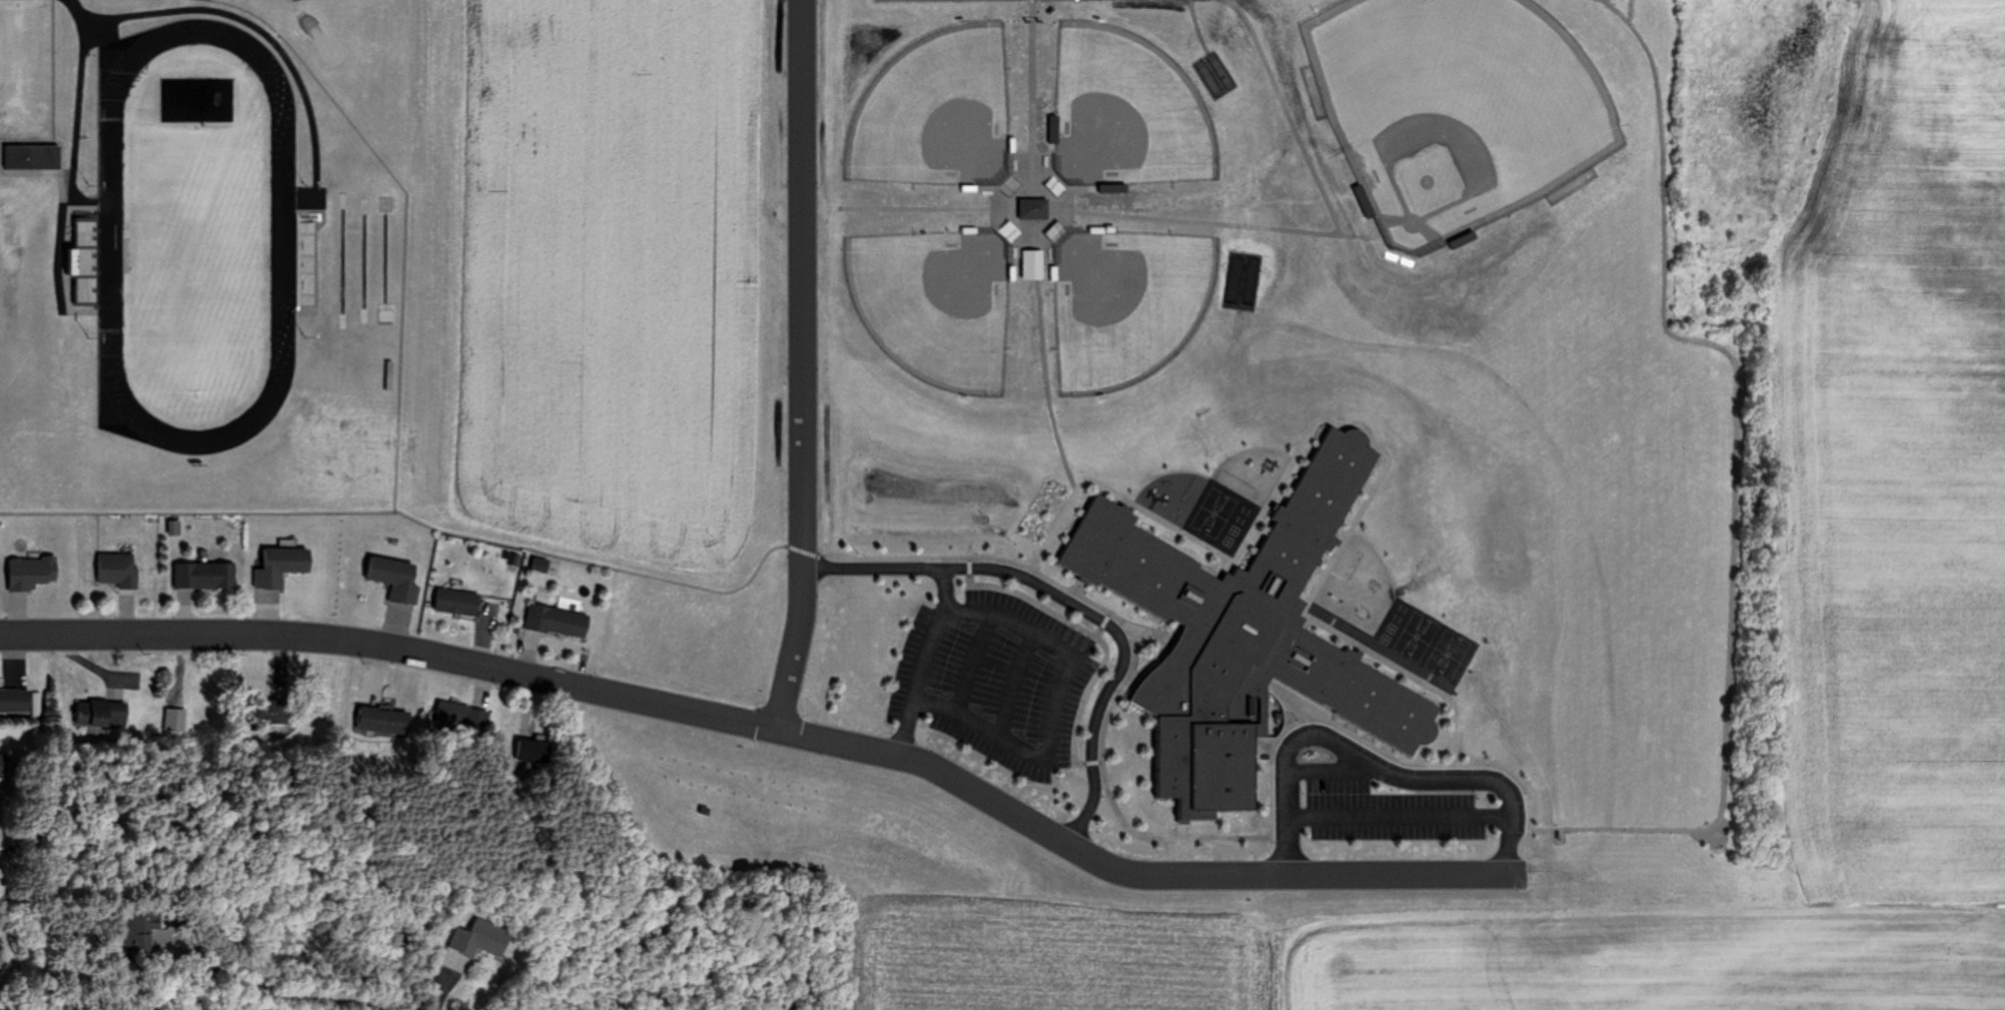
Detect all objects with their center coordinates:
road: (802, 362)
building: (283, 565)
building: (120, 569)
building: (33, 572)
building: (206, 574)
building: (397, 576)
road: (1074, 600)
building: (459, 601)
building: (558, 619)
road: (392, 647)
road: (922, 659)
road: (972, 663)
road: (1012, 680)
building: (15, 699)
road: (1056, 704)
building: (276, 710)
building: (102, 711)
building: (463, 715)
building: (384, 717)
building: (533, 749)
road: (1371, 766)
road: (1330, 767)
road: (1397, 814)
road: (1127, 866)
building: (146, 929)
building: (483, 938)
road: (441, 987)

